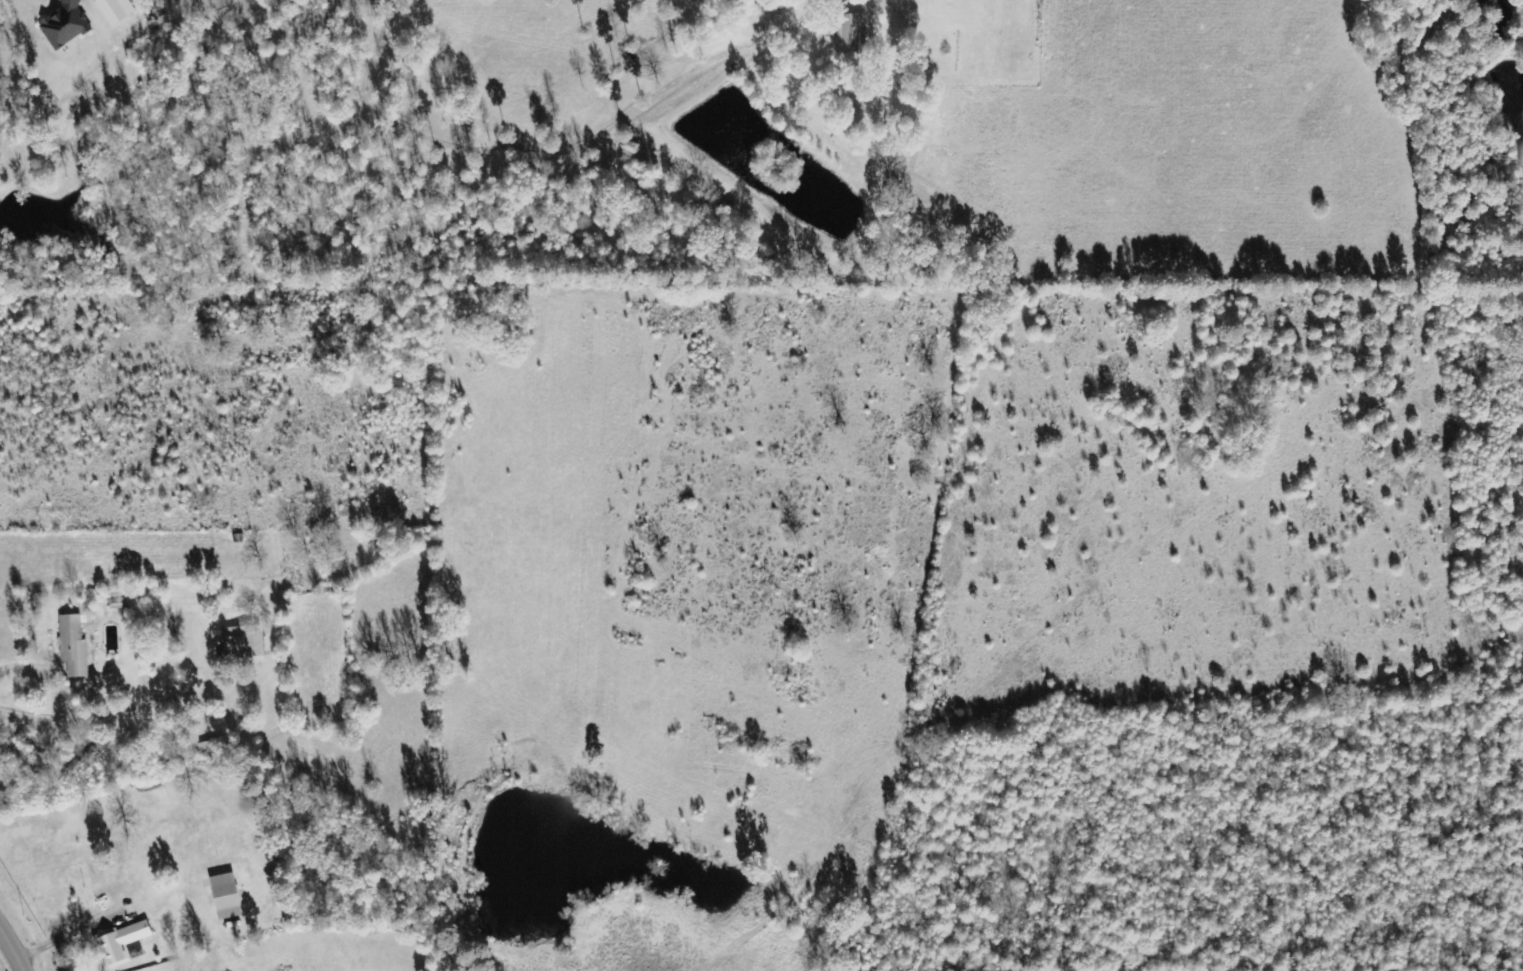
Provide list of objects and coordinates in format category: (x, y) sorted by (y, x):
building: (112, 10)
building: (62, 24)
building: (846, 32)
building: (237, 642)
building: (70, 645)
building: (221, 896)
road: (11, 942)
building: (121, 942)

